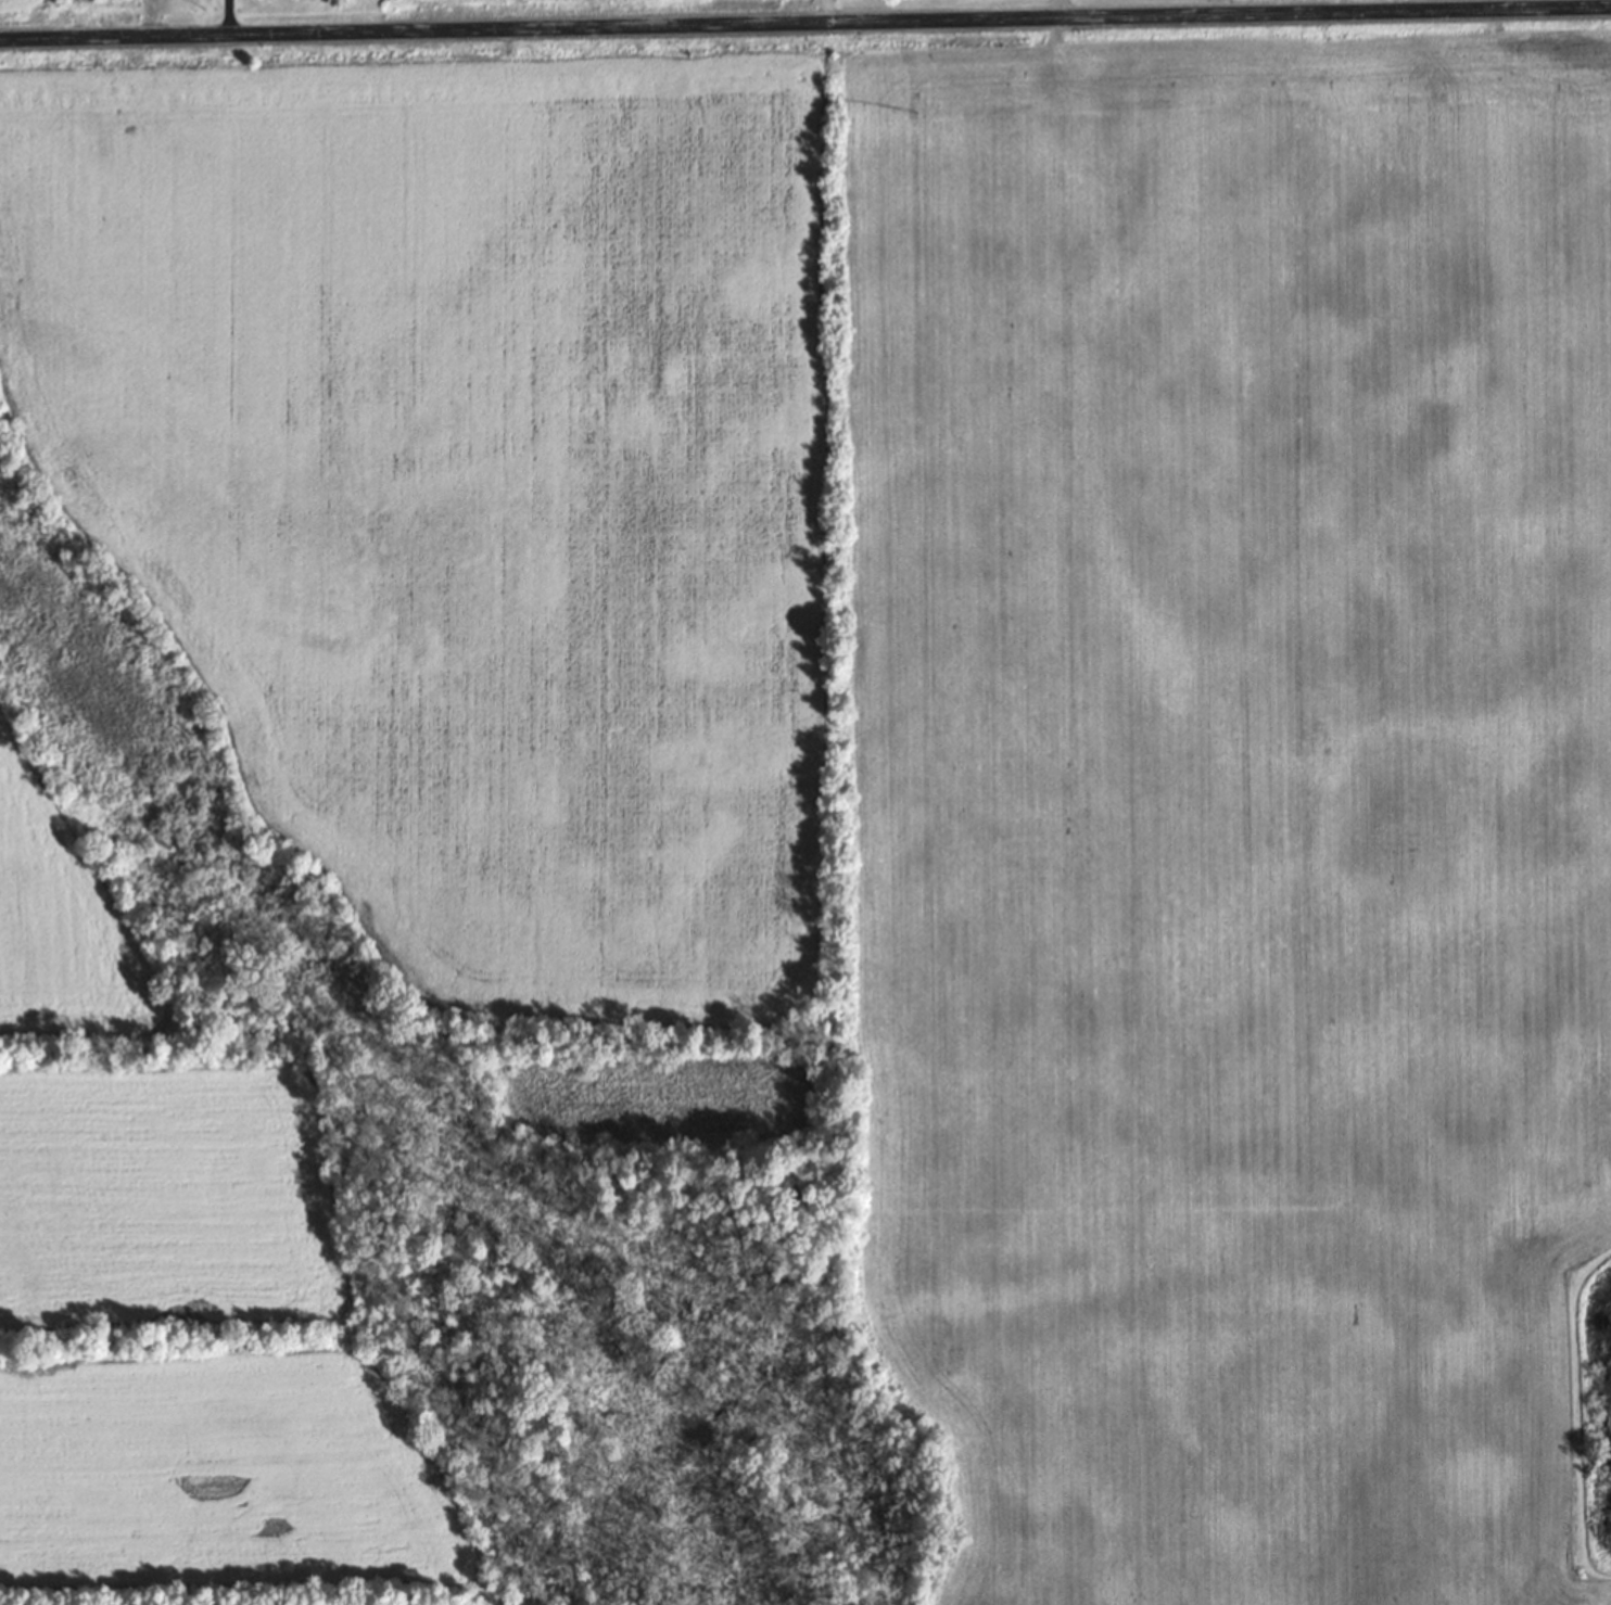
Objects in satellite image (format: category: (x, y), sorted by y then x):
road: (1057, 9)
road: (820, 12)
road: (805, 24)

